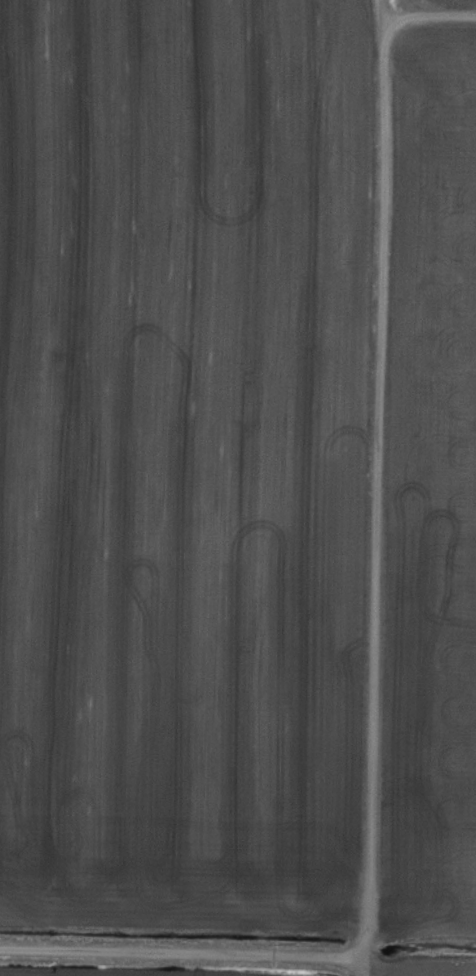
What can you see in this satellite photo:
road: (378, 510)
road: (188, 962)

